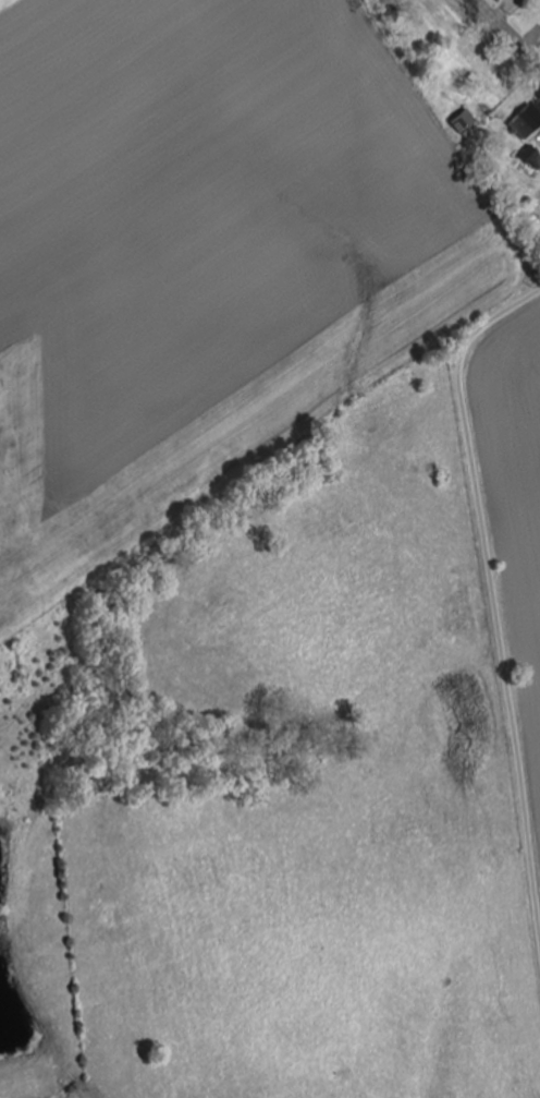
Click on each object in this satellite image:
road: (505, 34)
building: (524, 121)
road: (492, 582)

